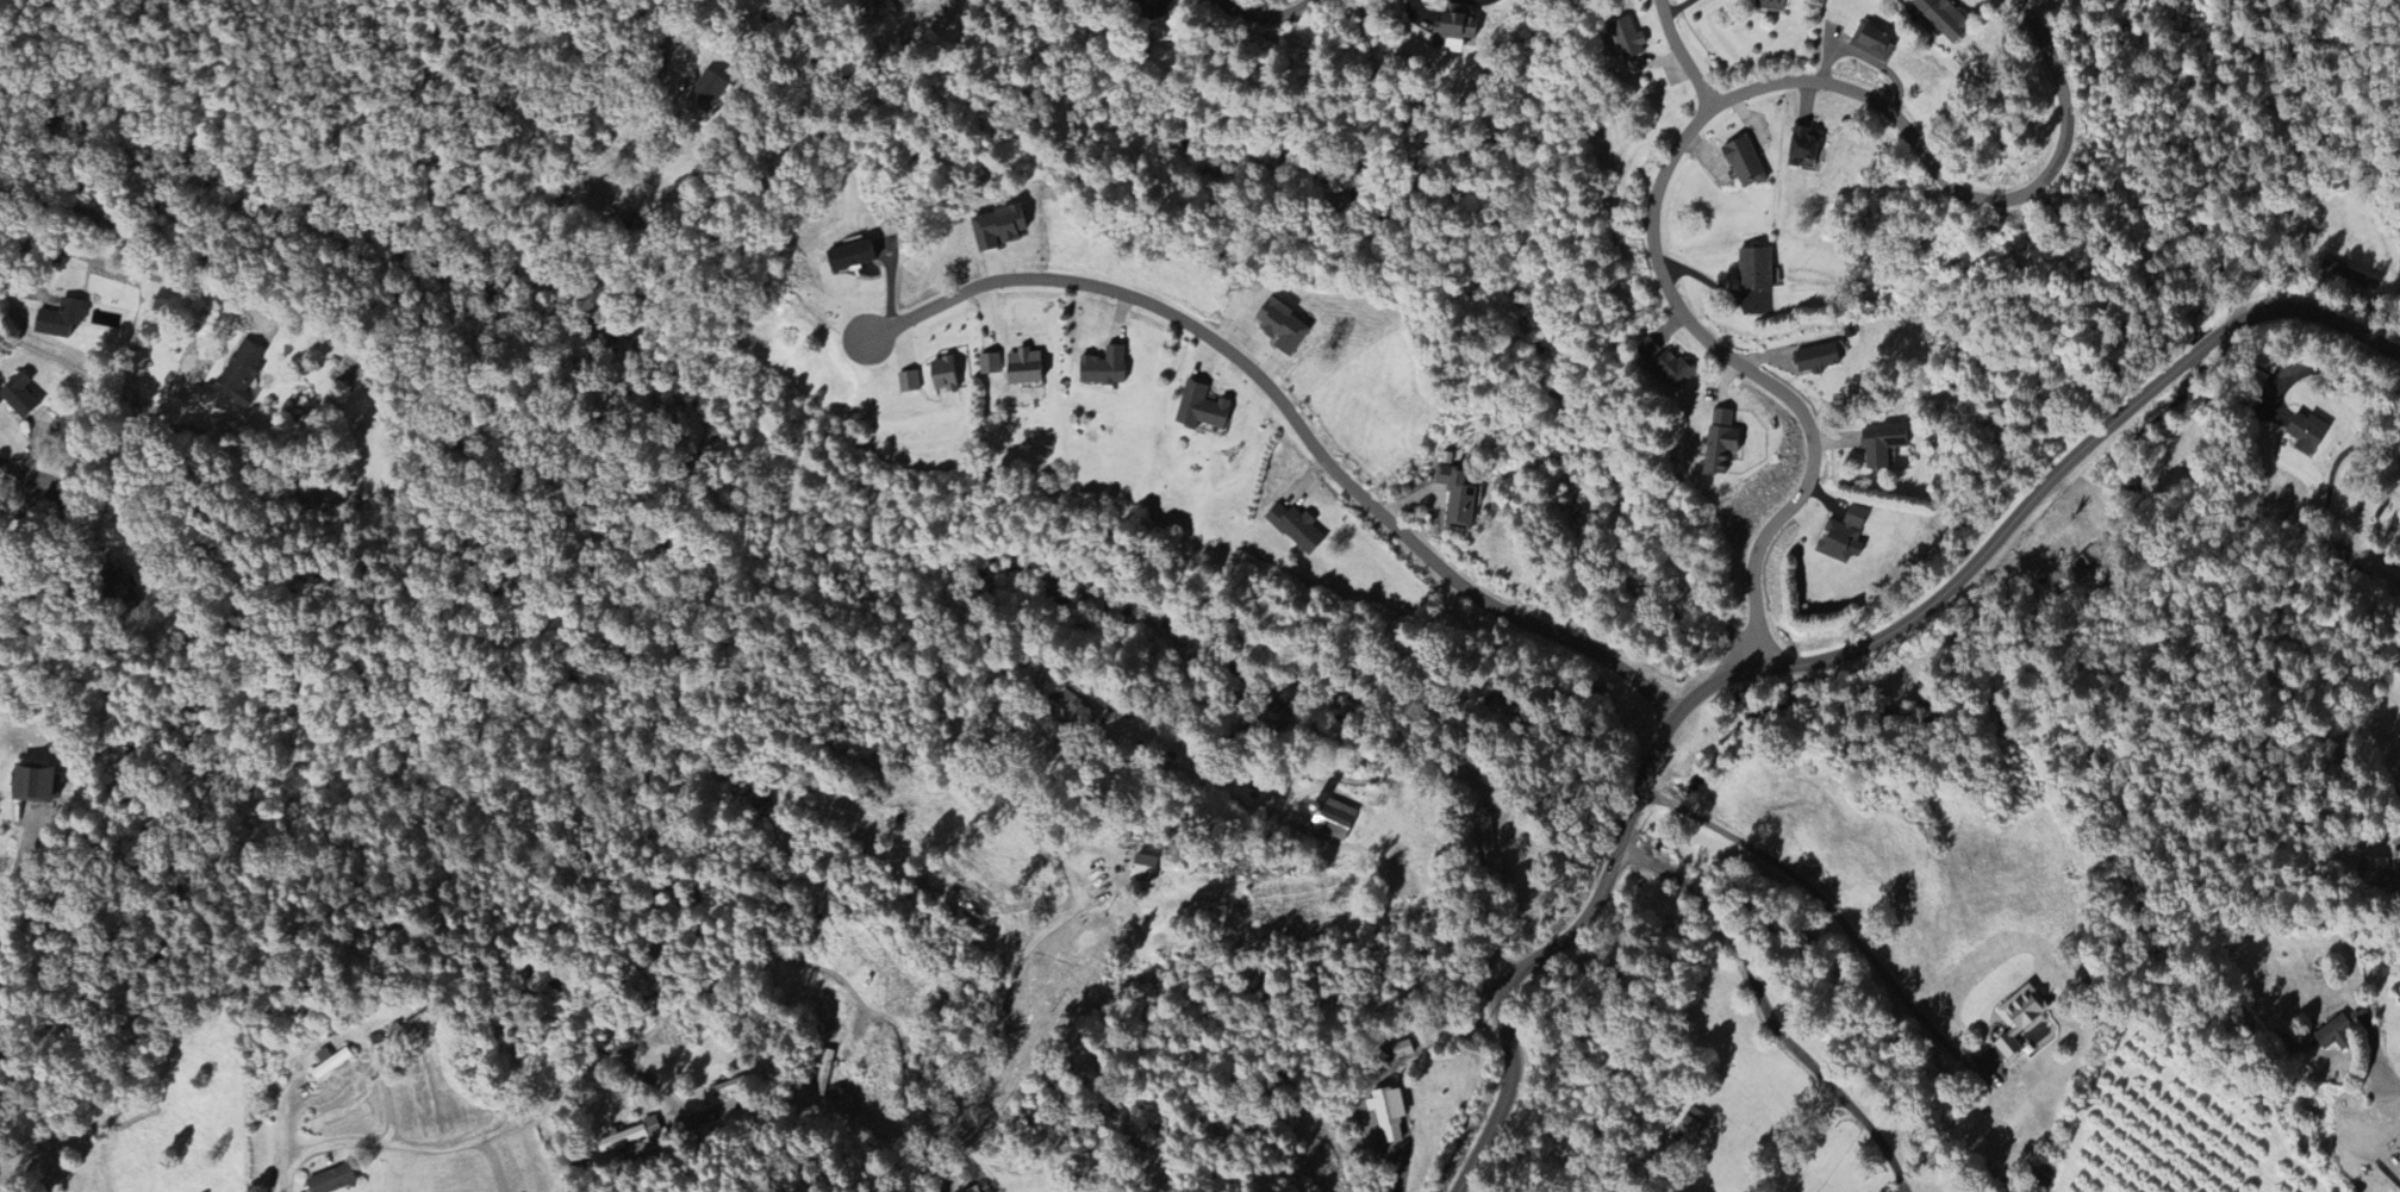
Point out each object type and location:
building: (905, 2)
building: (1770, 5)
building: (1153, 7)
building: (1939, 18)
road: (1265, 19)
building: (1457, 30)
building: (1627, 39)
building: (1871, 43)
road: (1681, 55)
building: (707, 93)
road: (635, 110)
road: (1687, 135)
building: (1803, 146)
building: (1745, 164)
building: (997, 229)
building: (2308, 241)
building: (849, 257)
road: (139, 266)
building: (1756, 269)
building: (58, 320)
building: (1280, 327)
building: (1816, 360)
building: (1665, 364)
building: (2268, 364)
building: (989, 366)
building: (1023, 368)
building: (1103, 368)
building: (239, 375)
building: (942, 375)
building: (908, 383)
building: (18, 398)
building: (1201, 408)
road: (1295, 423)
building: (2307, 435)
building: (1720, 442)
building: (1881, 445)
road: (36, 487)
building: (1455, 497)
building: (1296, 530)
building: (1843, 537)
building: (118, 588)
road: (1822, 663)
building: (1074, 707)
building: (31, 786)
building: (1335, 820)
building: (1486, 841)
building: (1143, 870)
road: (13, 878)
road: (1822, 903)
road: (1017, 978)
road: (1766, 1012)
building: (2019, 1018)
road: (657, 1023)
building: (329, 1063)
road: (19, 1079)
road: (2389, 1087)
road: (678, 1107)
building: (1389, 1115)
building: (1690, 1128)
building: (630, 1137)
building: (331, 1181)
building: (974, 1190)

